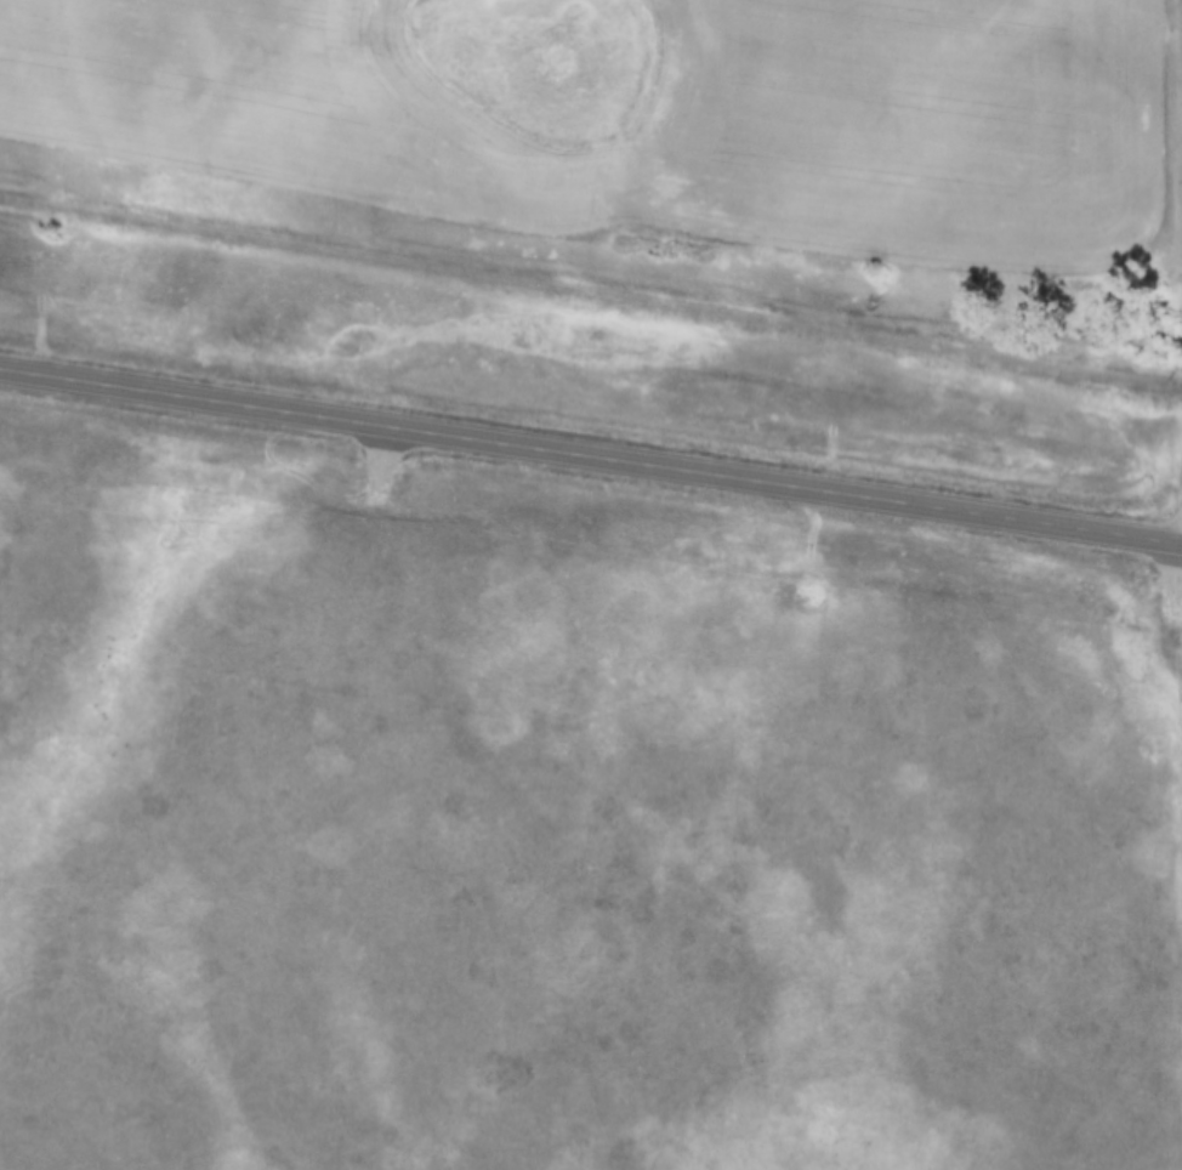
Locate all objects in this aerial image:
road: (590, 289)
road: (591, 451)

